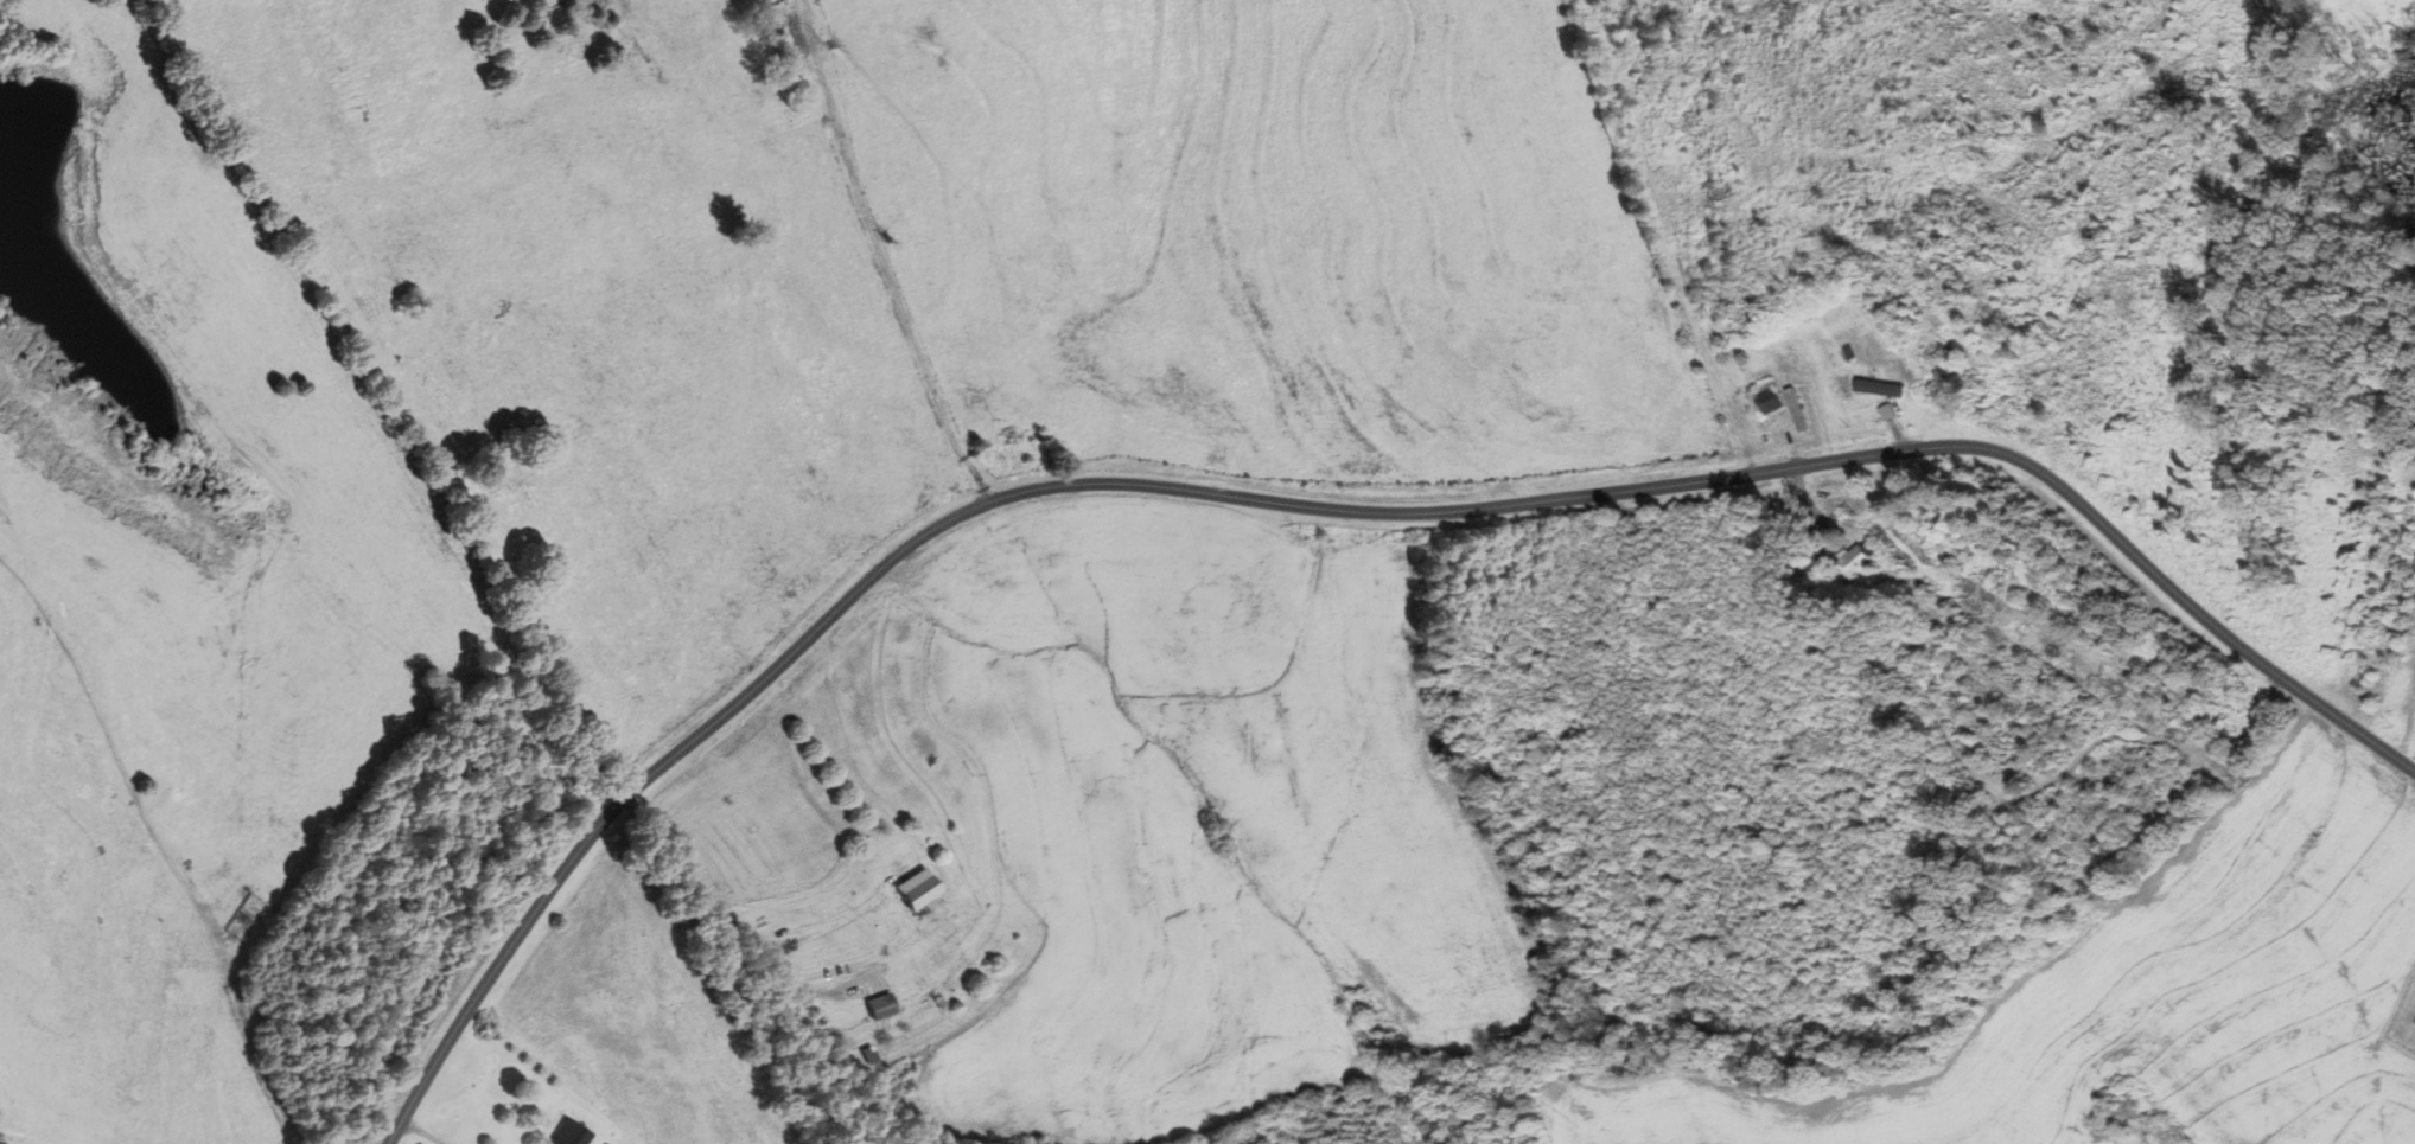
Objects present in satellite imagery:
building: (1872, 384)
building: (1778, 401)
building: (1884, 408)
building: (1802, 409)
road: (1311, 506)
building: (1855, 561)
road: (2409, 720)
building: (917, 888)
road: (725, 913)
building: (881, 1005)
building: (568, 1133)

